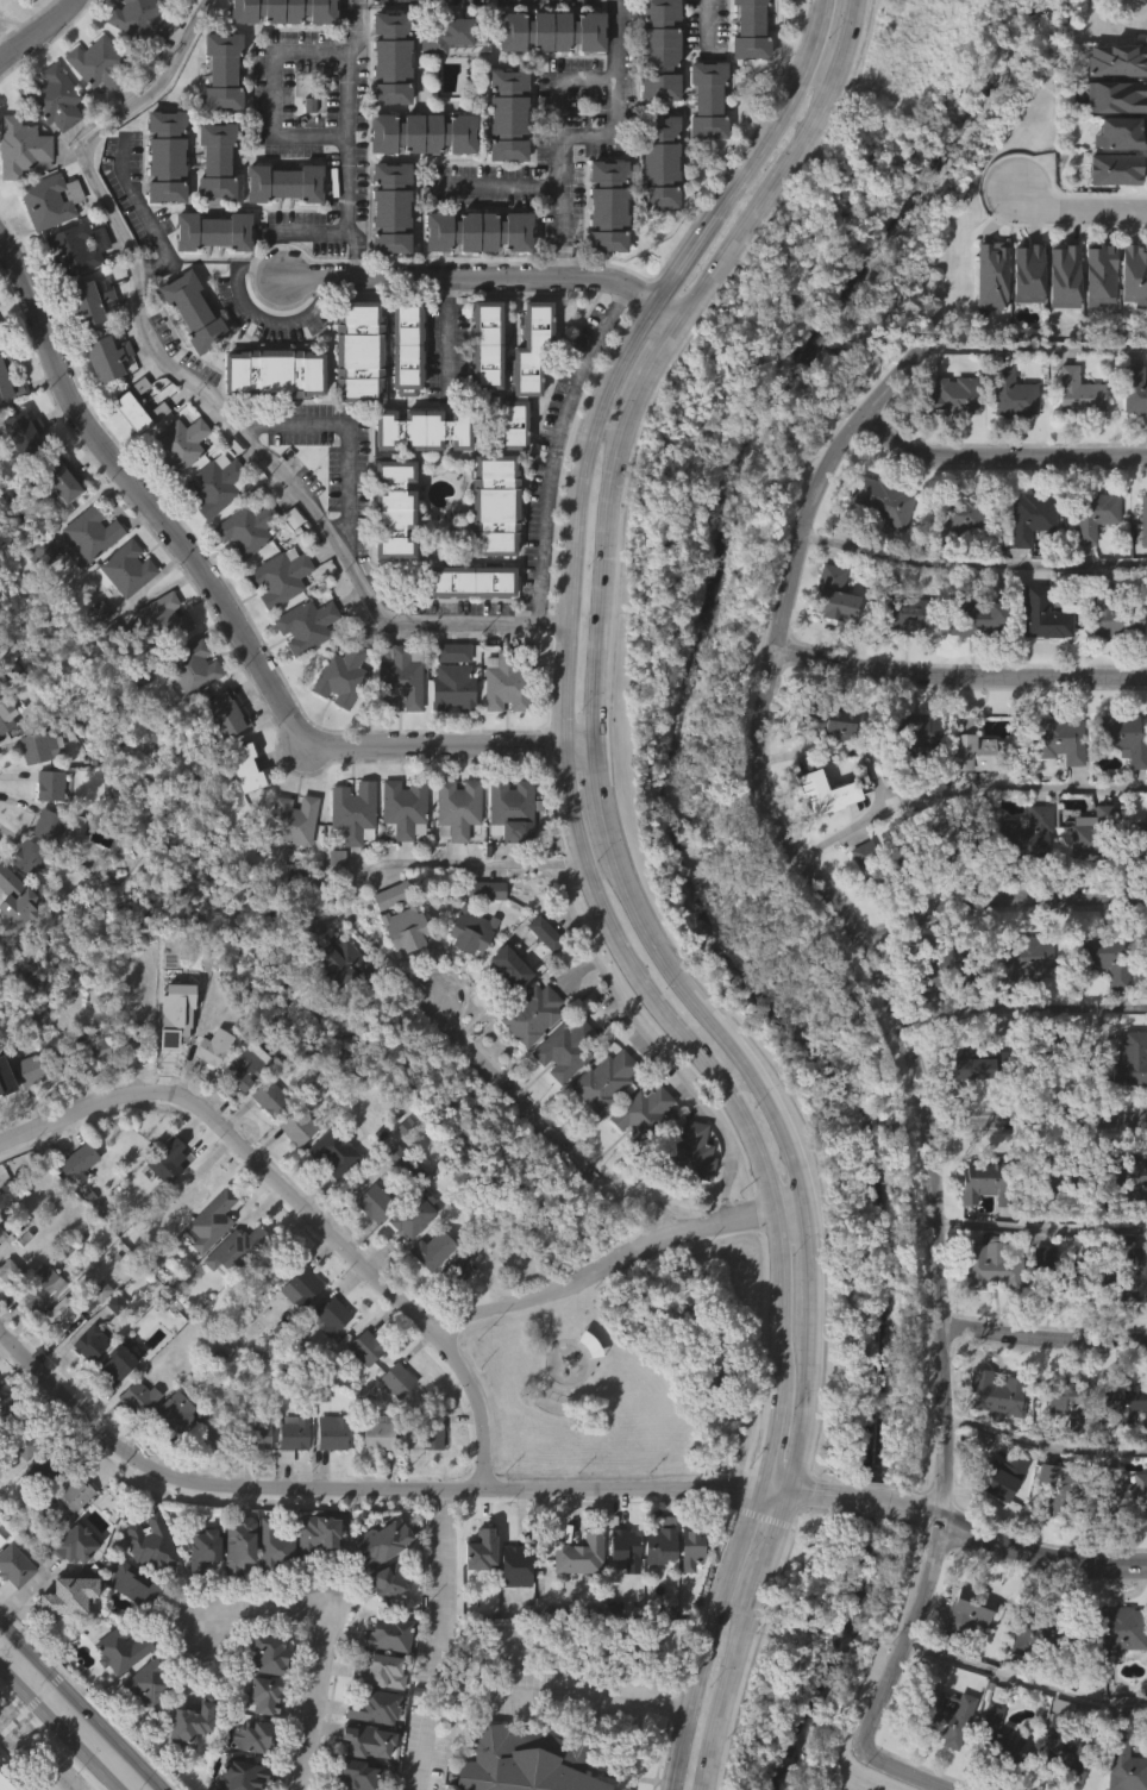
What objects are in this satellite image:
road: (357, 1)
building: (280, 10)
building: (139, 20)
road: (704, 25)
building: (551, 27)
building: (445, 30)
building: (747, 30)
road: (40, 33)
building: (656, 49)
building: (280, 52)
building: (390, 56)
building: (1116, 60)
building: (132, 63)
building: (98, 64)
building: (218, 70)
building: (745, 70)
road: (552, 79)
building: (547, 80)
building: (440, 82)
road: (343, 90)
building: (1115, 95)
building: (704, 98)
building: (52, 99)
building: (387, 107)
building: (93, 112)
building: (508, 112)
building: (219, 119)
road: (267, 130)
building: (424, 130)
road: (593, 132)
building: (1120, 132)
building: (51, 146)
building: (21, 148)
building: (703, 149)
building: (167, 154)
building: (217, 157)
building: (657, 162)
building: (503, 164)
building: (284, 181)
building: (419, 181)
building: (1117, 182)
road: (500, 184)
building: (20, 196)
building: (50, 199)
building: (162, 205)
building: (390, 206)
building: (604, 206)
building: (212, 208)
building: (656, 211)
road: (1067, 214)
road: (148, 218)
building: (1111, 218)
building: (478, 227)
building: (280, 231)
building: (213, 232)
road: (311, 232)
building: (76, 248)
building: (43, 251)
building: (603, 255)
building: (387, 256)
road: (560, 261)
road: (352, 265)
building: (1098, 273)
road: (488, 274)
building: (990, 275)
building: (208, 280)
building: (474, 281)
building: (94, 301)
building: (194, 309)
building: (1023, 321)
building: (1096, 321)
building: (986, 324)
building: (1059, 324)
building: (1130, 324)
building: (1, 330)
road: (444, 336)
road: (1036, 345)
building: (403, 346)
building: (481, 346)
building: (361, 349)
building: (87, 350)
building: (5, 355)
building: (107, 356)
building: (189, 361)
building: (269, 373)
building: (521, 374)
building: (11, 387)
building: (1136, 388)
road: (199, 390)
building: (1017, 390)
building: (482, 393)
building: (1082, 393)
building: (401, 395)
building: (955, 395)
building: (353, 399)
building: (139, 405)
building: (104, 406)
building: (270, 420)
building: (520, 426)
building: (418, 430)
building: (25, 431)
road: (345, 432)
building: (10, 434)
building: (1132, 439)
building: (1008, 442)
building: (1074, 442)
building: (178, 444)
building: (946, 445)
road: (556, 447)
building: (134, 455)
road: (998, 456)
building: (418, 477)
building: (21, 480)
building: (58, 480)
building: (217, 483)
building: (177, 492)
building: (884, 501)
building: (497, 503)
building: (390, 509)
building: (1096, 514)
building: (1032, 517)
building: (1145, 519)
building: (960, 520)
building: (59, 527)
building: (246, 528)
building: (94, 531)
building: (876, 550)
building: (40, 551)
building: (490, 553)
road: (973, 562)
building: (1089, 563)
building: (1026, 565)
building: (953, 568)
building: (1141, 568)
building: (125, 569)
building: (280, 576)
building: (88, 581)
building: (469, 582)
building: (390, 592)
building: (835, 594)
building: (38, 600)
road: (228, 613)
building: (902, 613)
building: (1047, 613)
building: (1116, 614)
building: (121, 618)
building: (163, 619)
building: (986, 621)
building: (307, 624)
building: (275, 625)
building: (468, 630)
building: (829, 644)
building: (453, 652)
building: (96, 661)
building: (897, 662)
building: (1039, 663)
building: (161, 665)
building: (194, 666)
building: (973, 666)
building: (1110, 666)
building: (303, 672)
building: (343, 675)
building: (400, 676)
road: (961, 678)
building: (507, 680)
building: (4, 681)
building: (453, 687)
road: (560, 694)
building: (220, 713)
building: (190, 715)
building: (828, 720)
building: (5, 721)
building: (337, 725)
building: (396, 725)
building: (500, 732)
building: (449, 736)
building: (916, 737)
building: (1127, 737)
building: (1060, 739)
building: (974, 745)
building: (38, 746)
building: (221, 762)
building: (4, 763)
building: (246, 768)
building: (823, 771)
building: (911, 780)
building: (51, 784)
building: (1121, 786)
road: (964, 788)
building: (1053, 788)
building: (33, 794)
building: (969, 795)
building: (405, 808)
building: (459, 808)
building: (513, 809)
building: (353, 813)
building: (242, 815)
building: (294, 819)
building: (49, 825)
building: (1028, 835)
building: (1097, 835)
building: (820, 841)
building: (1142, 841)
building: (949, 845)
building: (26, 856)
building: (400, 857)
building: (453, 857)
building: (507, 858)
building: (349, 860)
road: (384, 860)
building: (879, 866)
building: (290, 868)
building: (44, 874)
building: (1085, 877)
building: (1021, 883)
building: (488, 889)
building: (1137, 890)
road: (627, 891)
building: (390, 896)
building: (17, 897)
road: (998, 900)
building: (332, 906)
building: (407, 927)
building: (472, 930)
building: (546, 932)
building: (388, 944)
building: (13, 946)
building: (1108, 958)
building: (1027, 959)
building: (347, 964)
building: (506, 965)
building: (947, 970)
building: (401, 976)
building: (466, 977)
building: (540, 981)
building: (1102, 1006)
building: (1020, 1007)
road: (1023, 1009)
building: (339, 1012)
building: (1146, 1012)
building: (533, 1014)
building: (504, 1015)
building: (949, 1016)
building: (919, 1028)
road: (905, 1039)
building: (133, 1041)
building: (98, 1046)
building: (214, 1047)
building: (566, 1049)
building: (1055, 1058)
building: (1132, 1058)
building: (63, 1062)
building: (528, 1062)
building: (982, 1062)
building: (171, 1063)
building: (250, 1066)
building: (31, 1070)
building: (607, 1082)
building: (4, 1088)
building: (209, 1095)
building: (94, 1097)
building: (272, 1099)
building: (558, 1099)
building: (1127, 1107)
building: (973, 1110)
building: (645, 1114)
building: (242, 1115)
building: (1049, 1115)
building: (26, 1116)
road: (1036, 1120)
building: (299, 1125)
building: (601, 1128)
building: (265, 1145)
building: (334, 1152)
building: (691, 1153)
building: (639, 1159)
building: (77, 1162)
building: (406, 1164)
building: (165, 1166)
building: (294, 1175)
road: (582, 1175)
building: (1066, 1178)
building: (1130, 1179)
building: (990, 1181)
building: (189, 1196)
building: (685, 1200)
building: (330, 1201)
building: (376, 1203)
building: (393, 1203)
building: (74, 1210)
building: (161, 1214)
building: (415, 1215)
building: (212, 1221)
road: (1039, 1223)
building: (1126, 1223)
building: (977, 1227)
building: (2, 1233)
road: (336, 1243)
building: (183, 1244)
building: (237, 1250)
building: (370, 1250)
building: (434, 1250)
building: (410, 1262)
building: (207, 1268)
building: (990, 1269)
building: (10, 1270)
building: (456, 1270)
building: (268, 1271)
building: (1060, 1275)
building: (50, 1277)
building: (1128, 1279)
building: (1, 1283)
building: (303, 1288)
building: (230, 1297)
building: (428, 1297)
building: (1039, 1304)
building: (61, 1312)
building: (331, 1314)
building: (986, 1314)
building: (452, 1316)
building: (7, 1319)
building: (264, 1322)
building: (1128, 1329)
building: (39, 1335)
building: (297, 1335)
road: (1041, 1337)
building: (90, 1341)
building: (363, 1347)
building: (57, 1360)
building: (117, 1363)
building: (327, 1364)
park: (631, 1371)
building: (399, 1377)
building: (87, 1390)
building: (997, 1394)
building: (362, 1395)
building: (136, 1398)
building: (1072, 1400)
road: (476, 1401)
building: (1123, 1401)
building: (6, 1406)
building: (112, 1413)
building: (171, 1413)
building: (395, 1426)
building: (214, 1432)
building: (257, 1433)
building: (328, 1433)
building: (377, 1433)
building: (433, 1434)
building: (26, 1437)
building: (293, 1437)
building: (988, 1439)
road: (1043, 1441)
building: (134, 1444)
road: (770, 1445)
building: (1063, 1447)
building: (1122, 1448)
building: (4, 1453)
building: (173, 1459)
building: (48, 1464)
building: (1004, 1475)
building: (207, 1478)
building: (289, 1479)
building: (374, 1479)
building: (865, 1479)
building: (327, 1482)
building: (253, 1483)
building: (428, 1483)
building: (1064, 1484)
road: (352, 1489)
building: (74, 1490)
road: (798, 1490)
building: (20, 1491)
building: (1126, 1495)
road: (872, 1497)
building: (280, 1504)
building: (40, 1514)
building: (1042, 1522)
building: (985, 1531)
building: (318, 1533)
building: (1, 1539)
building: (478, 1540)
building: (378, 1541)
building: (1122, 1541)
building: (150, 1542)
building: (75, 1544)
building: (239, 1544)
building: (620, 1544)
building: (658, 1545)
building: (275, 1546)
building: (205, 1548)
building: (689, 1548)
road: (1023, 1553)
building: (577, 1557)
building: (516, 1565)
building: (387, 1581)
building: (130, 1583)
building: (313, 1583)
building: (0, 1586)
road: (23, 1589)
building: (73, 1590)
building: (234, 1591)
building: (270, 1592)
building: (620, 1592)
building: (656, 1594)
building: (199, 1596)
building: (689, 1596)
building: (477, 1597)
building: (576, 1603)
building: (970, 1610)
building: (12, 1613)
building: (512, 1614)
building: (131, 1631)
building: (390, 1634)
road: (706, 1635)
building: (1039, 1636)
building: (1114, 1636)
road: (439, 1640)
building: (65, 1641)
road: (316, 1642)
road: (569, 1645)
building: (123, 1648)
building: (263, 1654)
building: (964, 1658)
building: (376, 1672)
building: (1112, 1677)
road: (1024, 1679)
building: (149, 1681)
building: (1029, 1684)
building: (117, 1696)
building: (261, 1696)
road: (559, 1697)
building: (376, 1705)
road: (77, 1707)
building: (946, 1717)
building: (188, 1721)
building: (144, 1729)
road: (54, 1733)
building: (999, 1734)
building: (251, 1736)
building: (362, 1740)
building: (1059, 1751)
building: (529, 1760)
building: (940, 1763)
building: (1127, 1766)
building: (188, 1769)
building: (991, 1773)
building: (239, 1776)
building: (352, 1776)
building: (8, 1780)
road: (936, 1782)
building: (1057, 1783)

